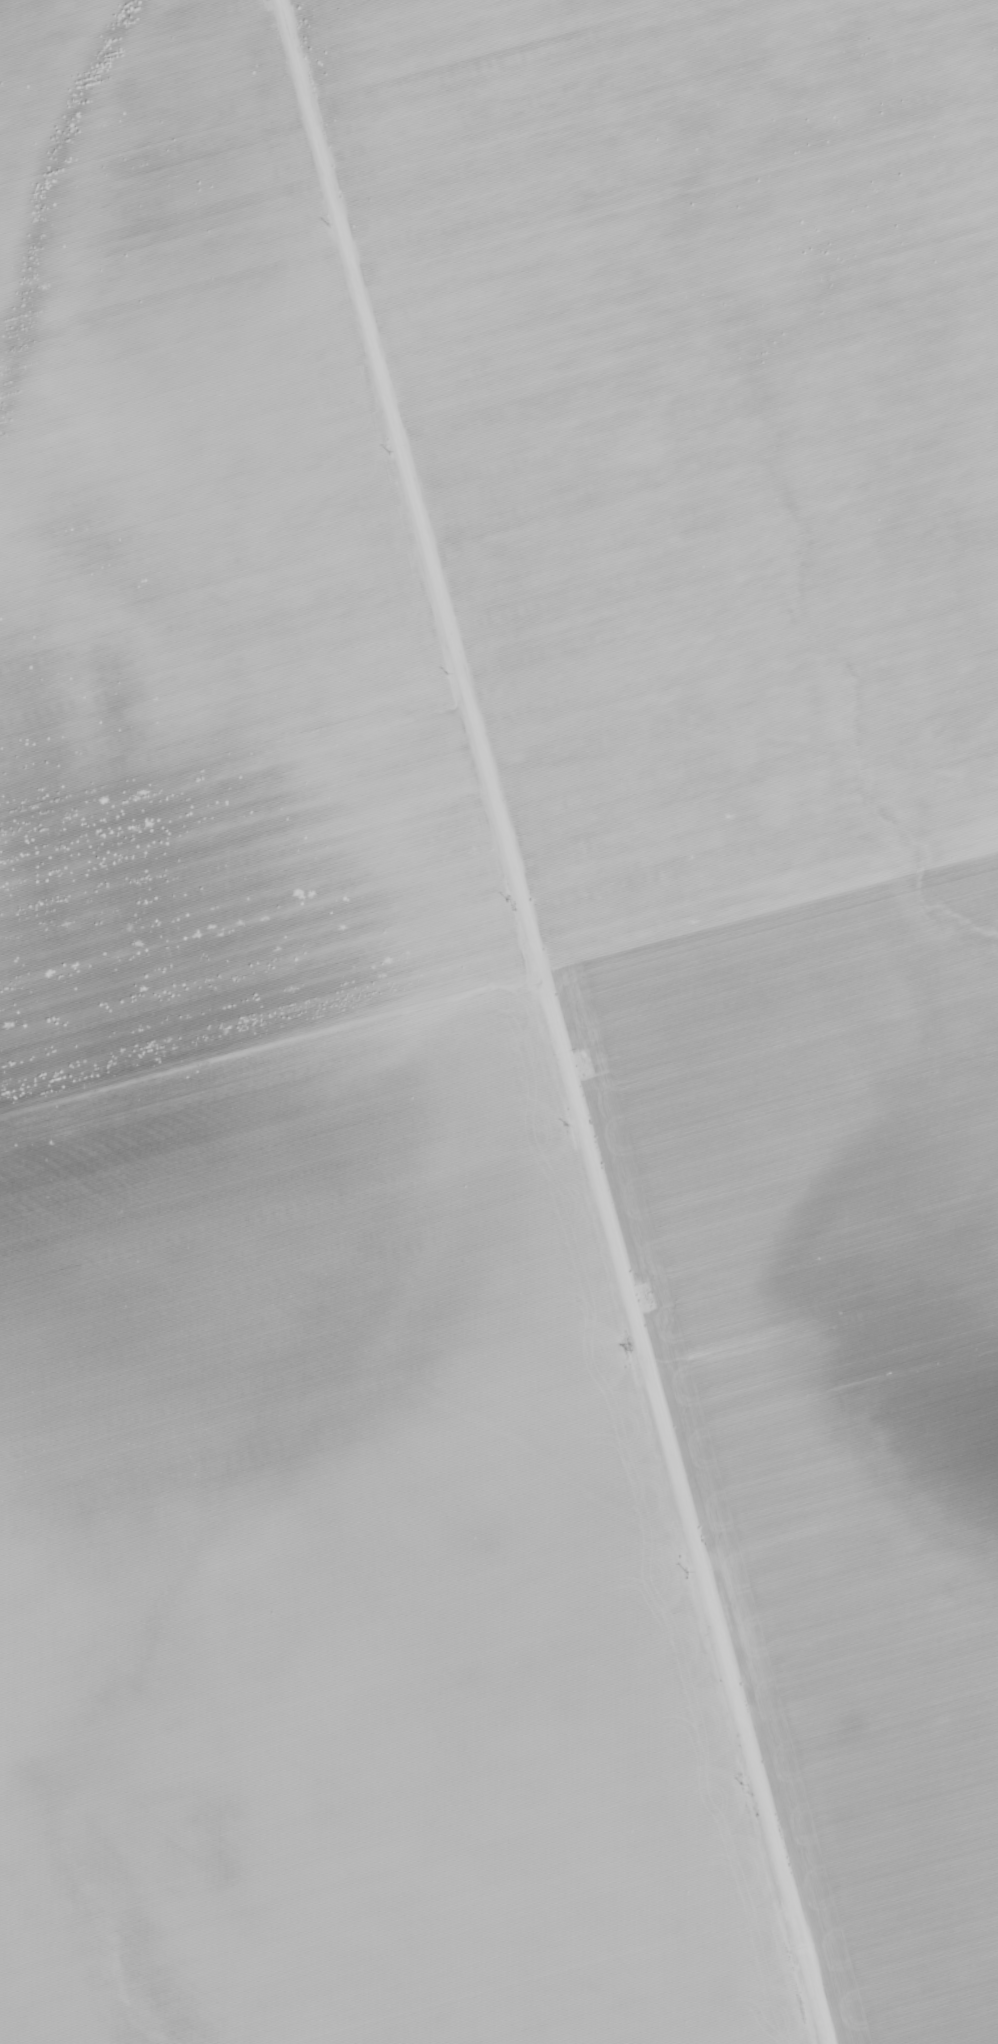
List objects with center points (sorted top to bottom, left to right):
road: (542, 1021)

